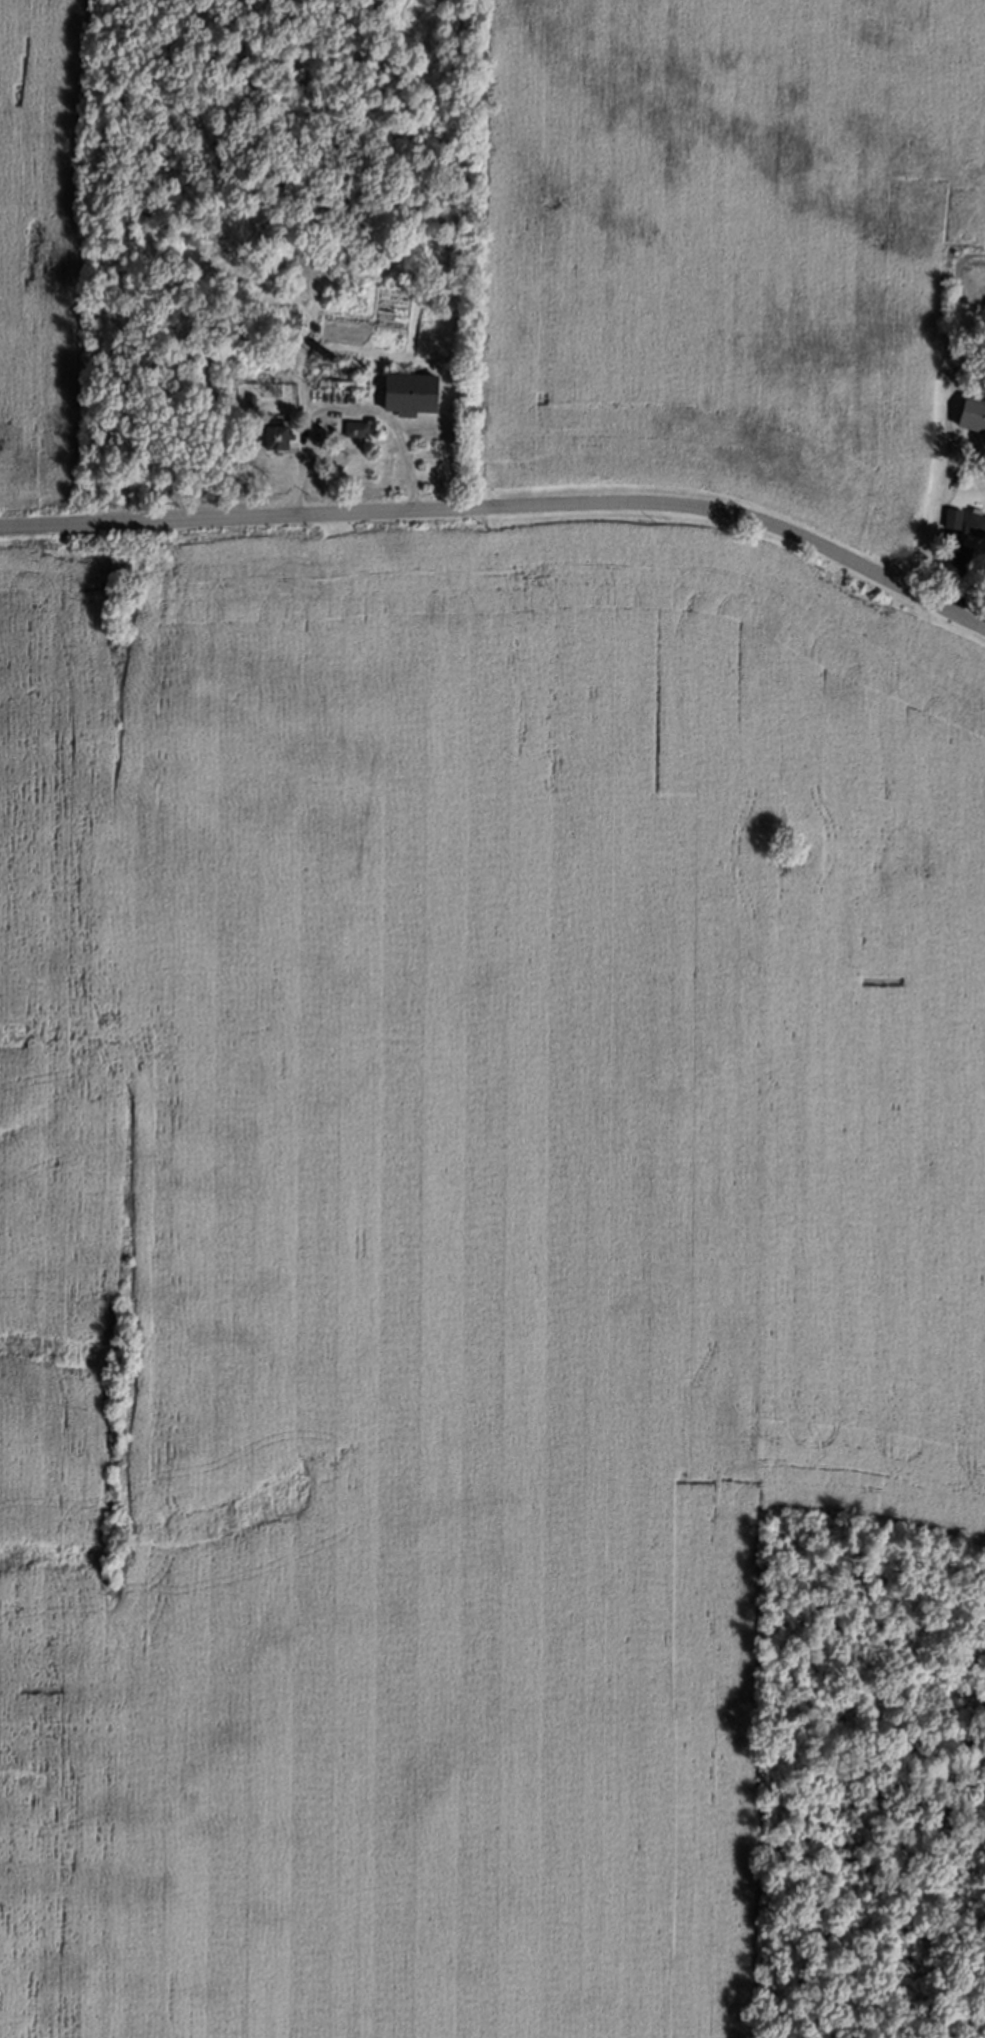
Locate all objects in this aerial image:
building: (404, 394)
road: (350, 409)
building: (970, 416)
building: (271, 436)
road: (505, 507)
building: (975, 526)

